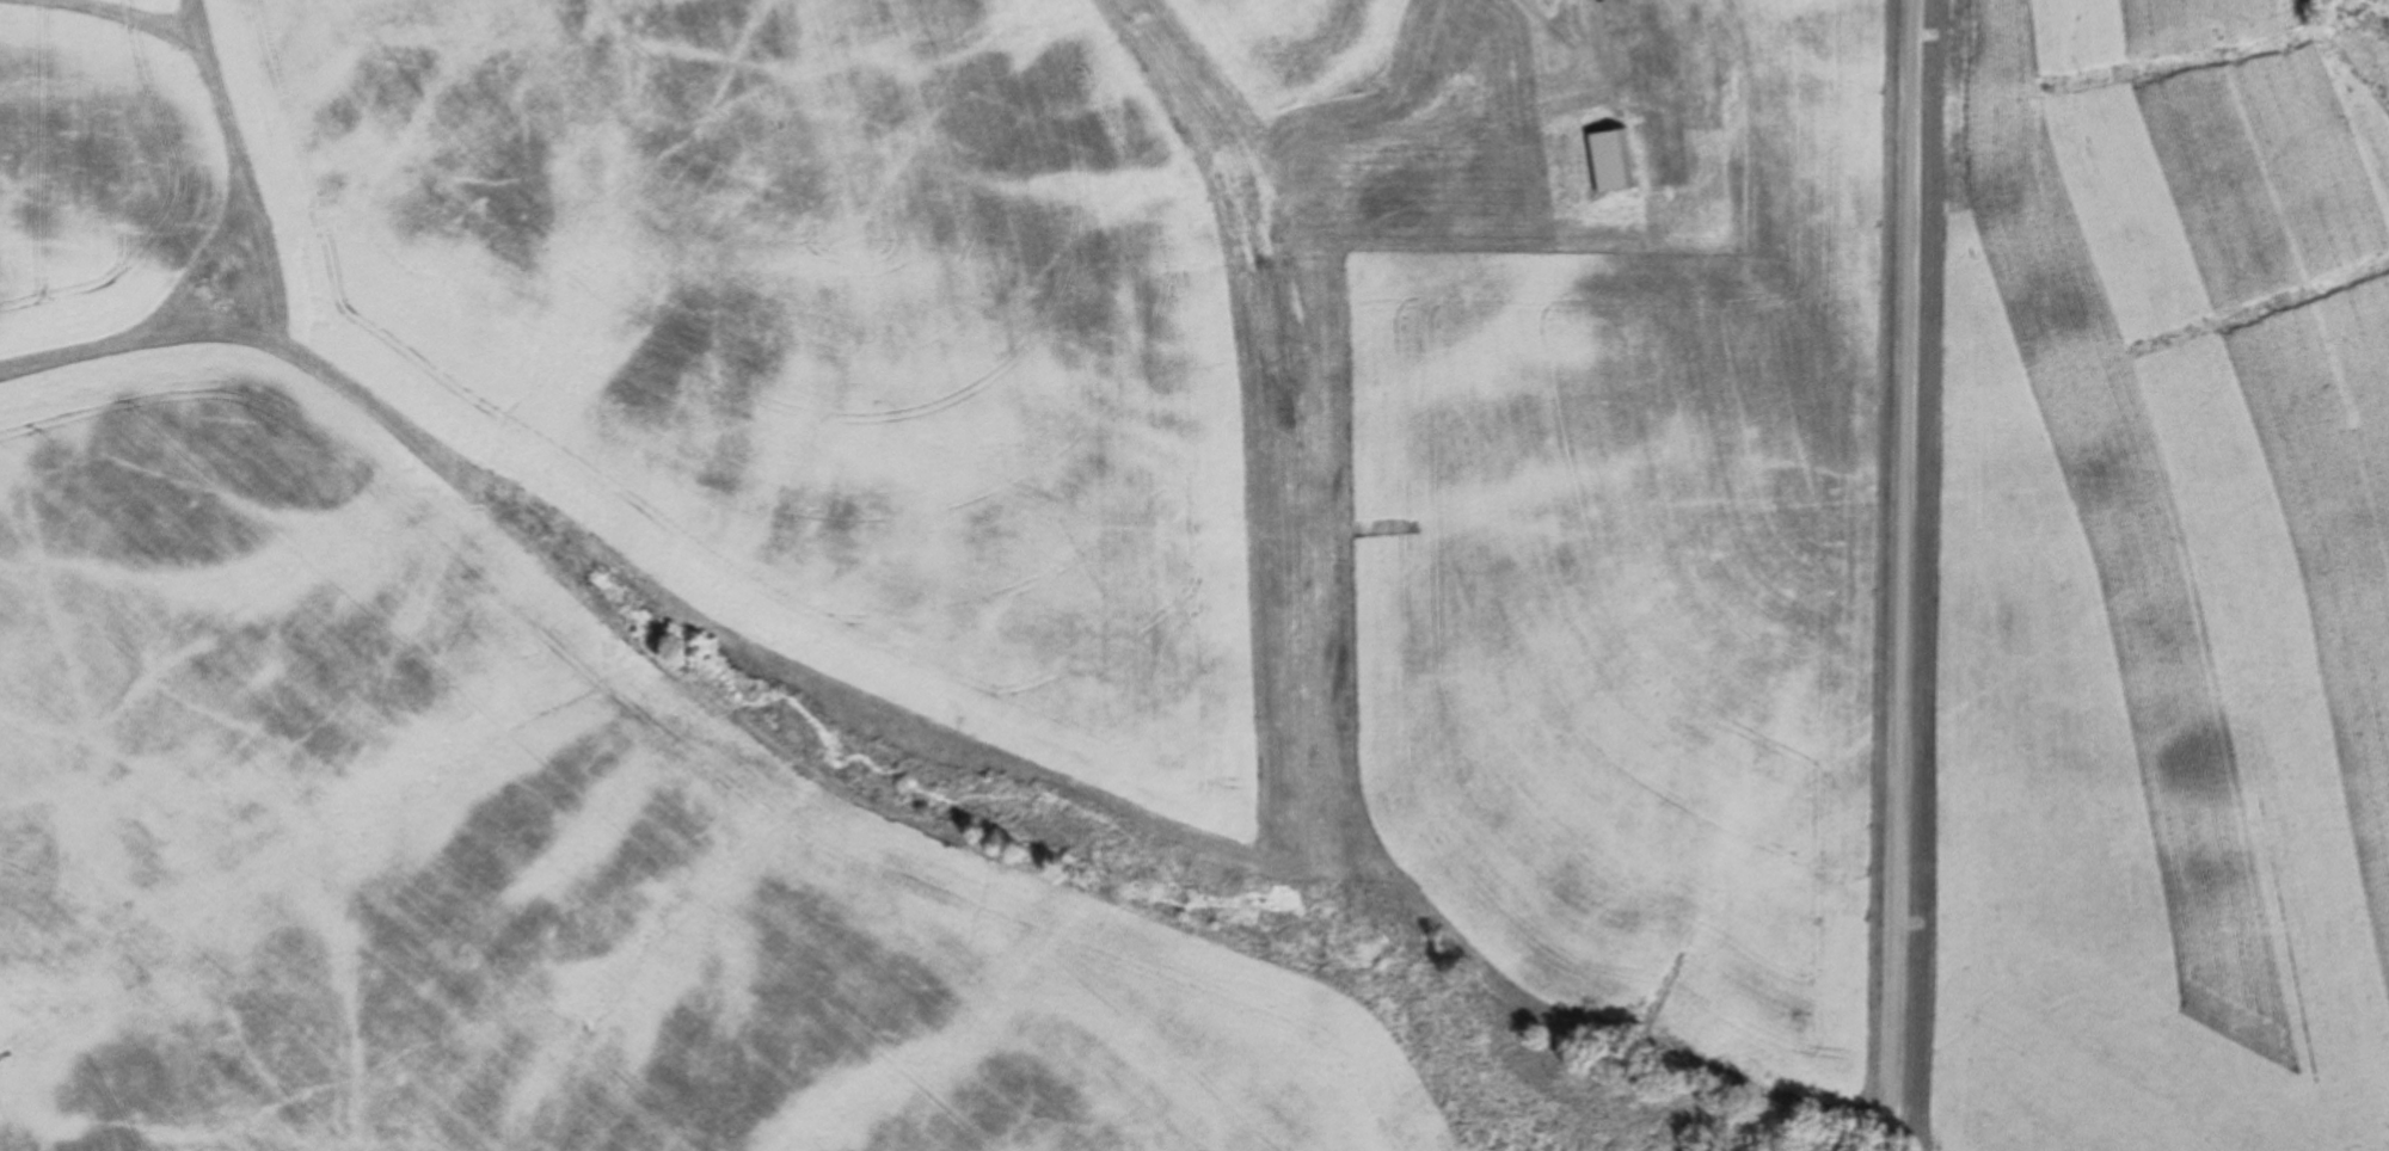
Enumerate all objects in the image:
building: (1633, 23)
building: (1697, 48)
building: (1608, 162)
road: (1904, 575)

